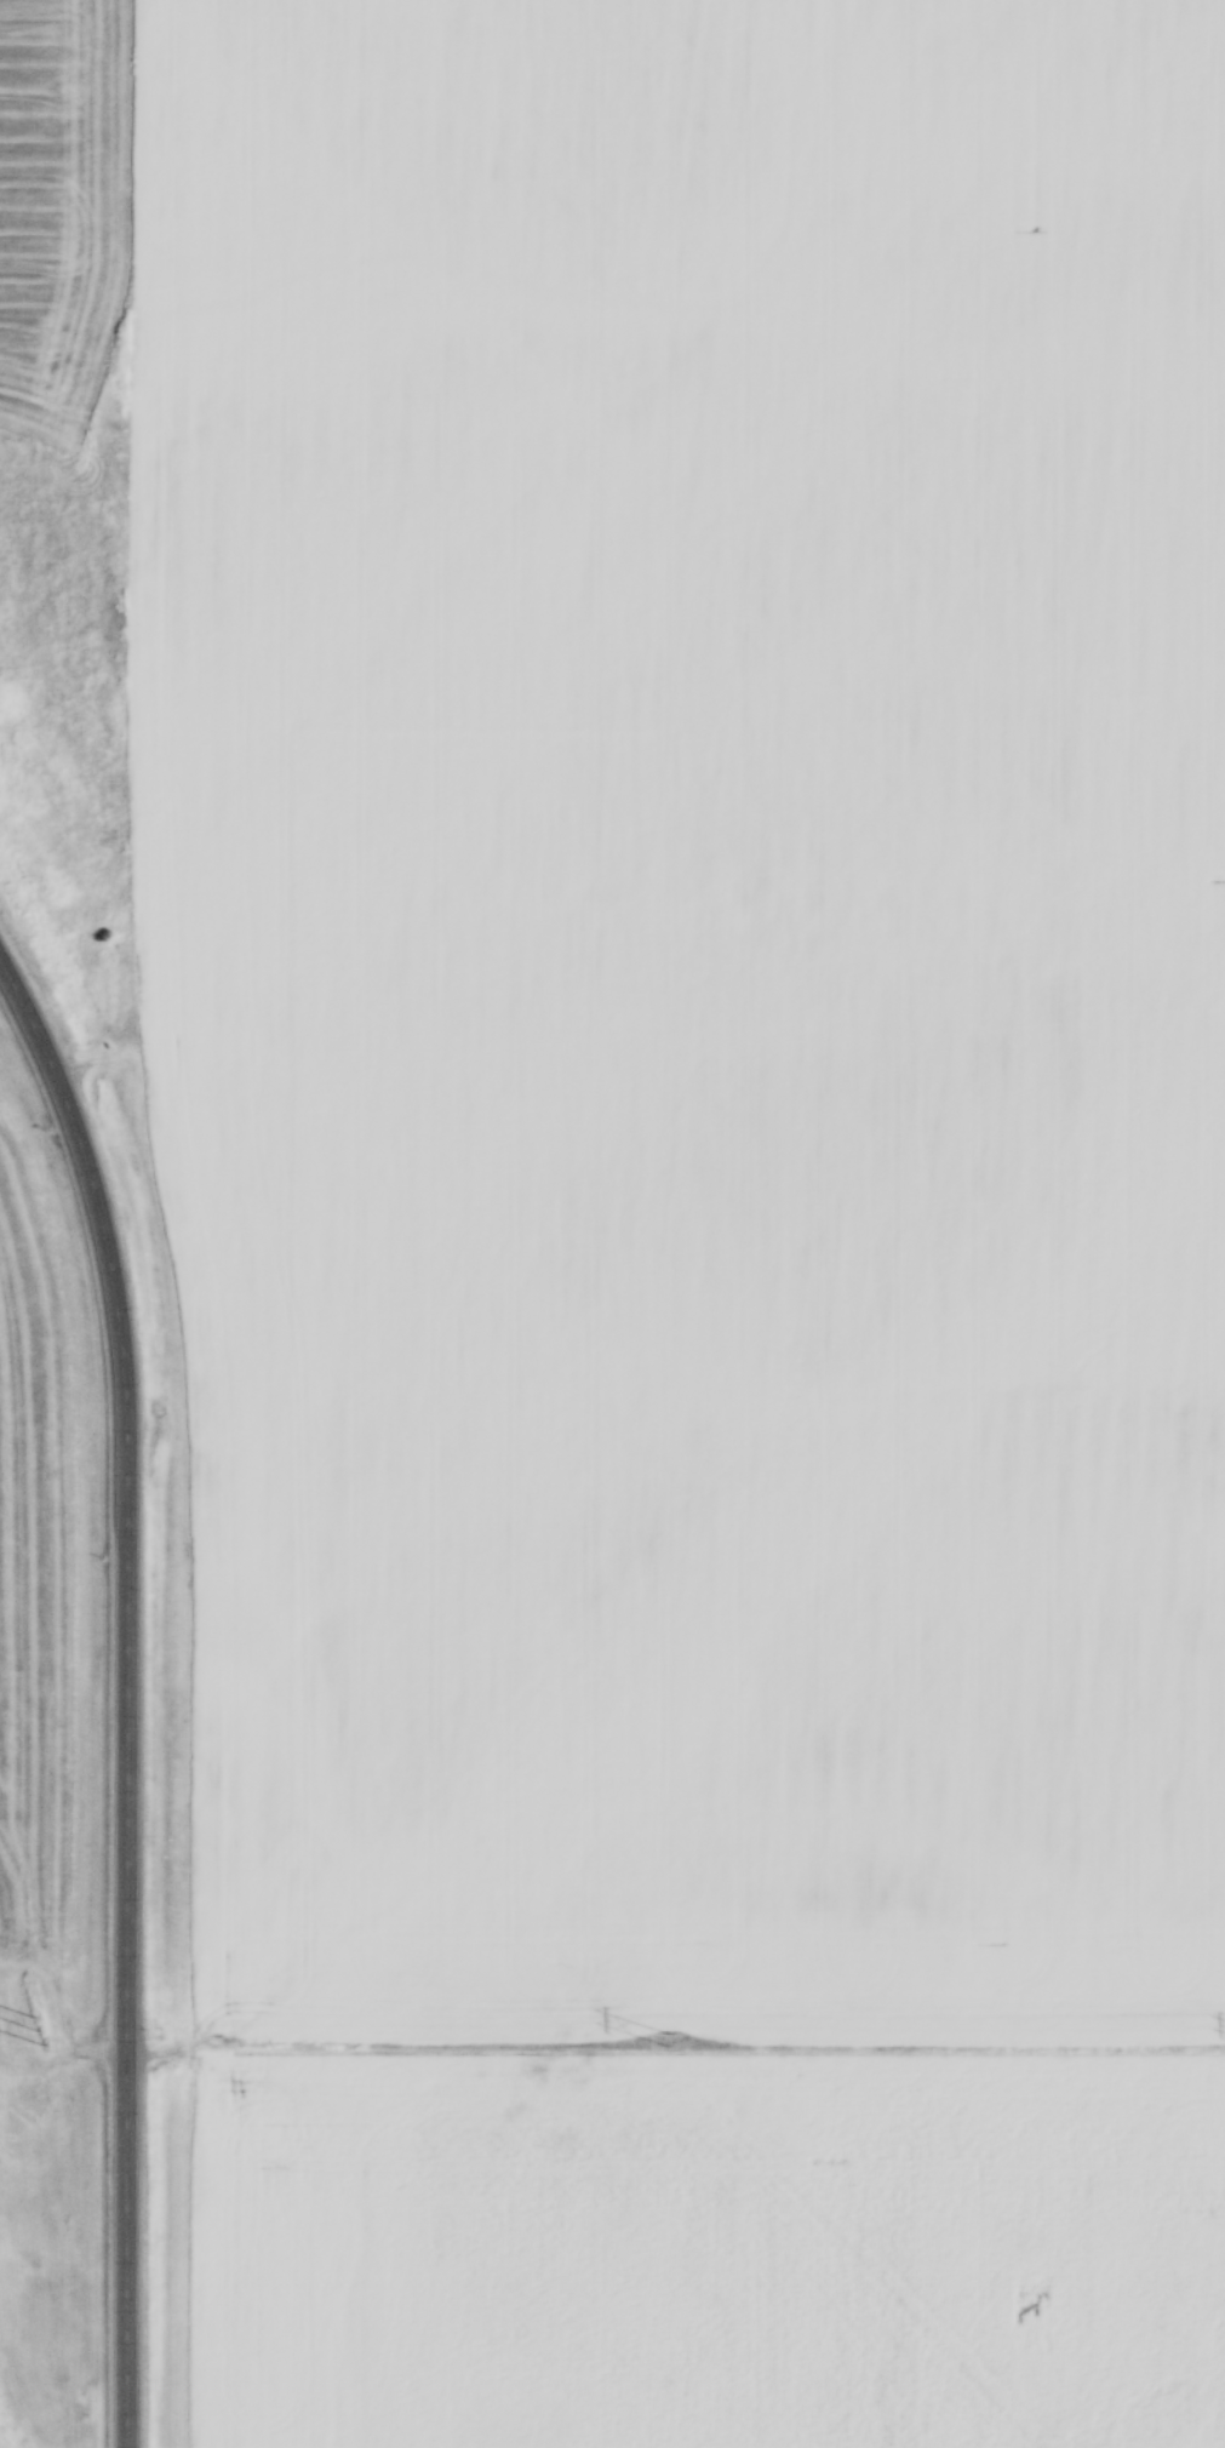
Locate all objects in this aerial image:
road: (131, 1694)
power tower: (44, 2041)
power tower: (674, 2046)

